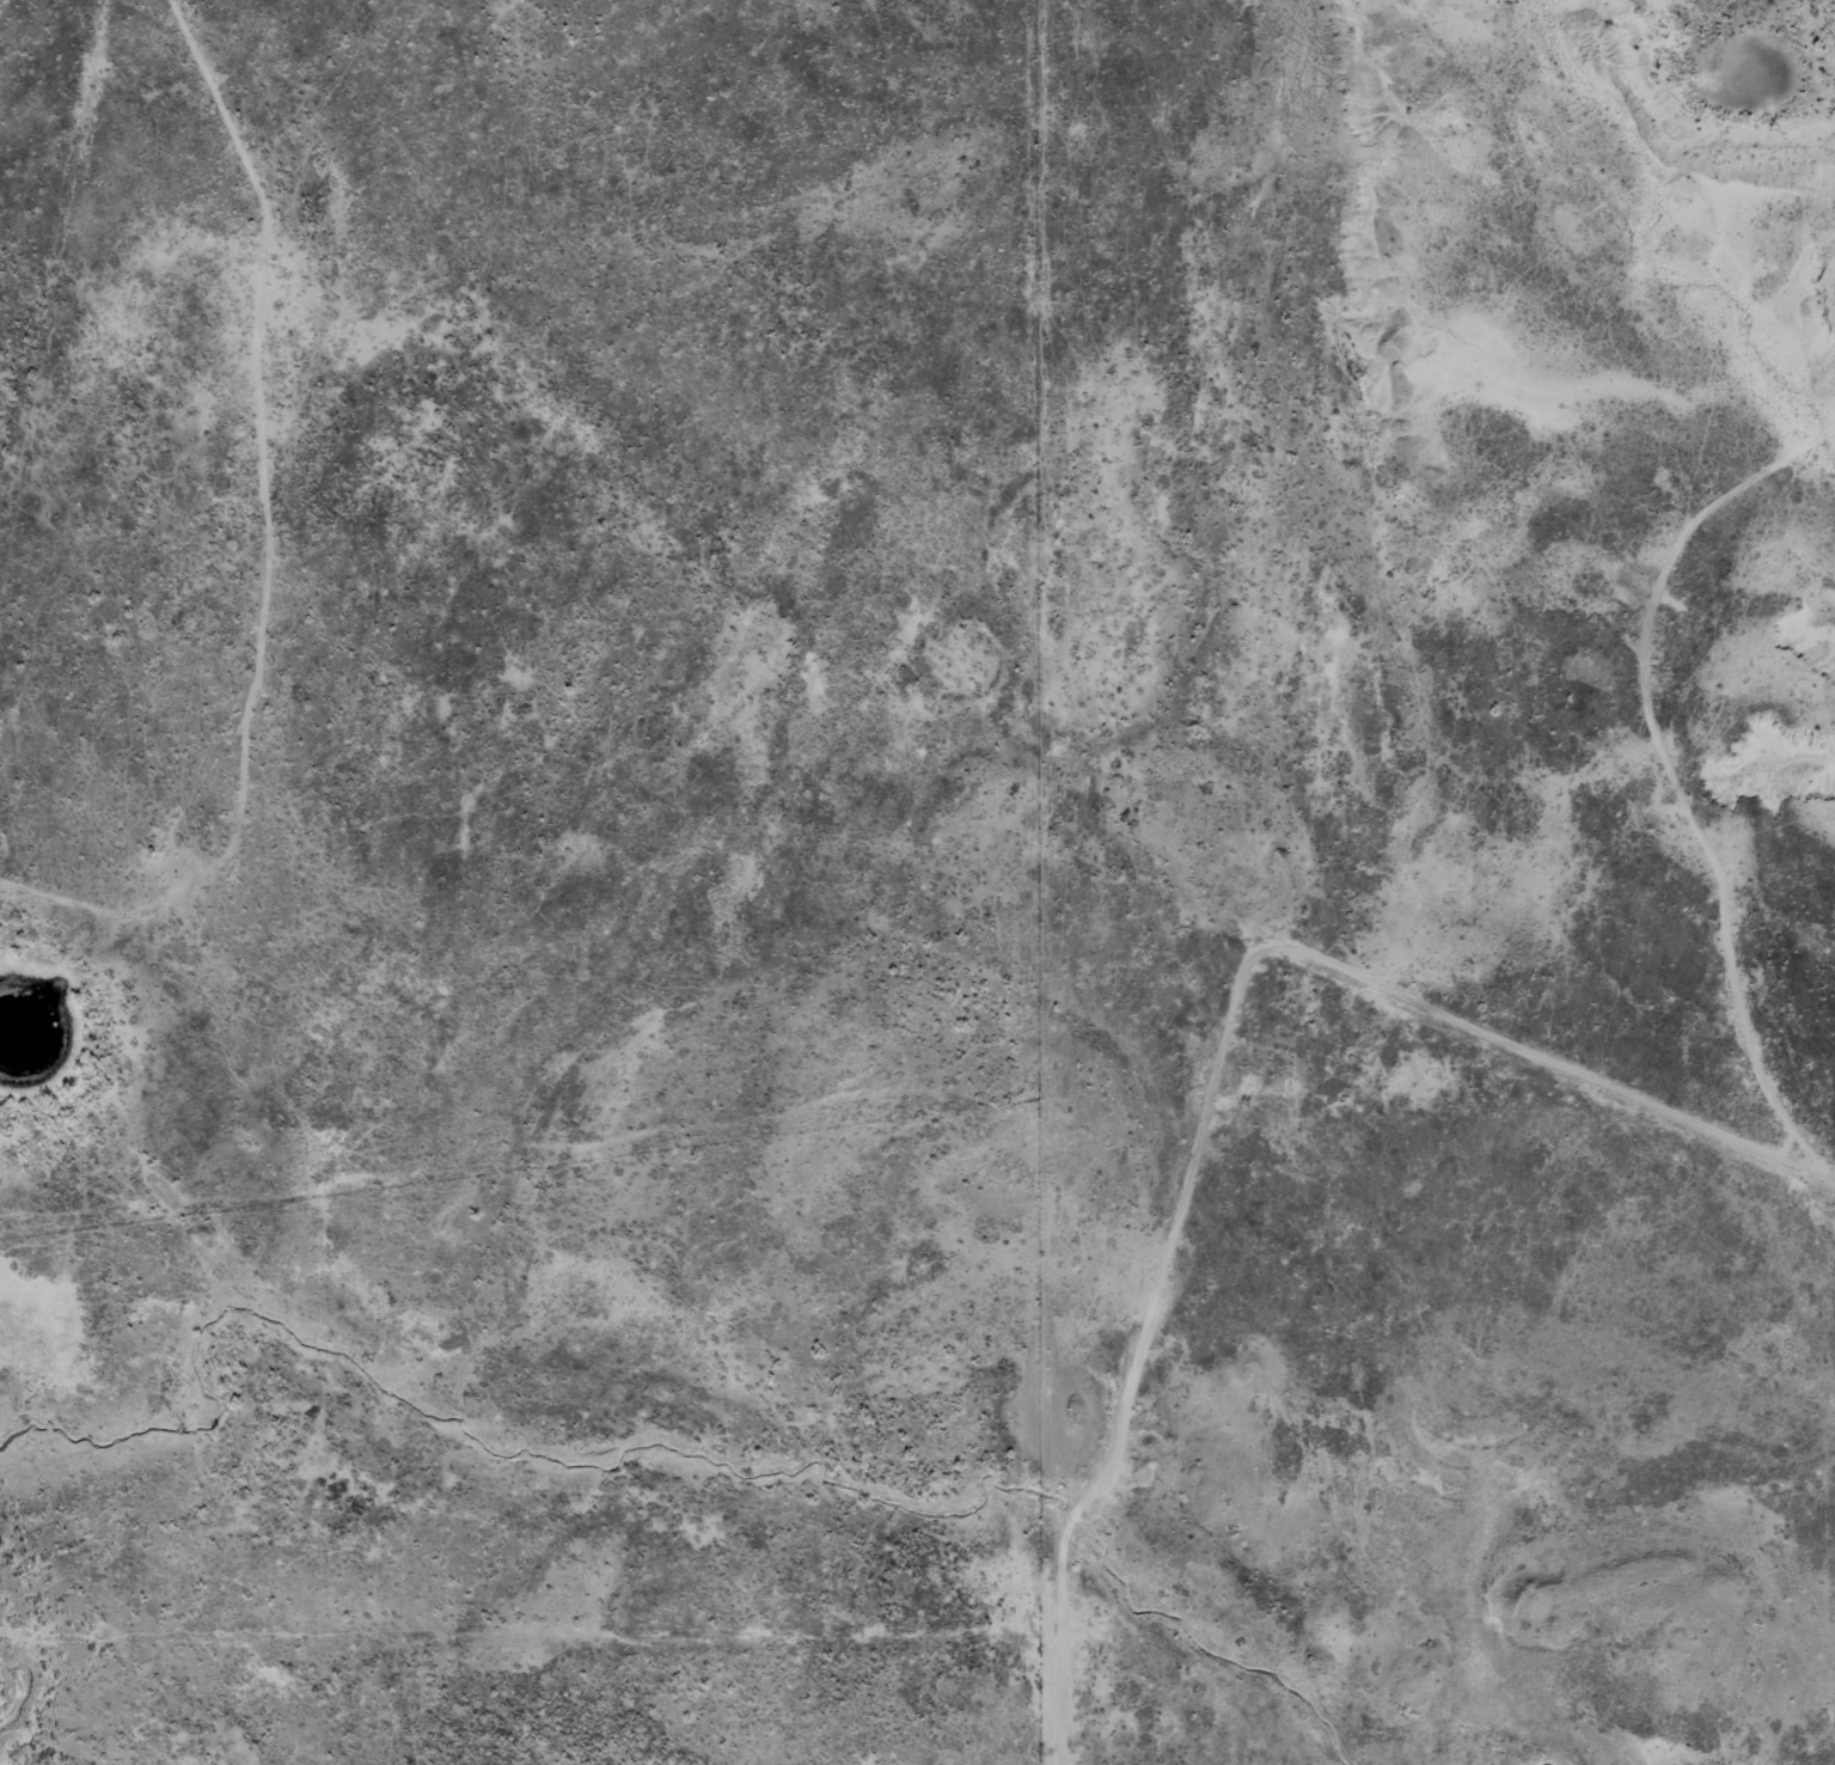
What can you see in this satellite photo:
road: (264, 544)
road: (1675, 775)

